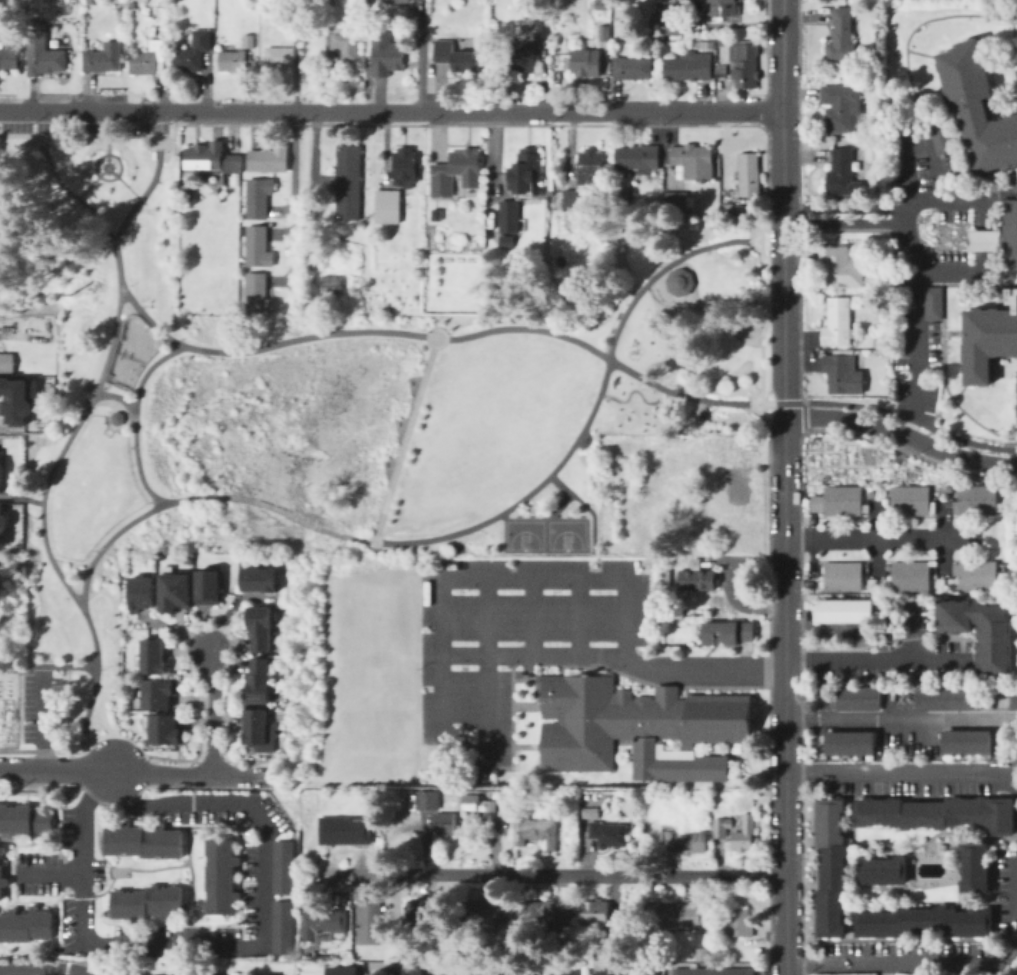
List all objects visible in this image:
building: (393, 1)
building: (328, 4)
building: (603, 5)
building: (131, 6)
building: (722, 7)
building: (543, 28)
building: (674, 28)
building: (222, 32)
building: (605, 33)
building: (843, 36)
building: (1016, 40)
building: (248, 41)
building: (346, 43)
building: (656, 44)
building: (43, 53)
building: (192, 53)
building: (455, 54)
building: (387, 55)
road: (420, 56)
building: (9, 57)
building: (283, 57)
building: (104, 58)
building: (524, 58)
building: (150, 60)
building: (233, 60)
building: (586, 62)
building: (746, 66)
building: (689, 67)
building: (632, 68)
building: (844, 75)
building: (978, 107)
building: (843, 108)
road: (392, 111)
parking lot: (86, 127)
road: (84, 137)
building: (942, 138)
road: (116, 157)
building: (267, 157)
building: (639, 159)
building: (213, 160)
building: (693, 161)
building: (346, 163)
building: (407, 167)
building: (591, 167)
building: (526, 169)
building: (457, 172)
road: (114, 173)
building: (845, 173)
road: (911, 177)
building: (748, 179)
road: (91, 181)
road: (151, 181)
building: (236, 181)
building: (257, 195)
building: (619, 197)
building: (346, 199)
building: (574, 200)
building: (677, 200)
road: (959, 200)
road: (292, 202)
building: (389, 206)
road: (981, 214)
building: (509, 216)
street lamp: (124, 233)
building: (1001, 234)
building: (509, 241)
road: (983, 241)
building: (255, 245)
building: (406, 249)
building: (882, 250)
street lamp: (707, 251)
building: (841, 266)
road: (917, 267)
road: (664, 271)
road: (958, 272)
building: (677, 281)
street lamp: (130, 283)
building: (331, 287)
building: (255, 292)
building: (934, 303)
street lamp: (625, 304)
road: (673, 310)
building: (386, 311)
building: (839, 323)
street lamp: (489, 325)
street lamp: (549, 326)
street lamp: (421, 329)
road: (373, 330)
building: (988, 340)
building: (883, 341)
road: (675, 346)
parking lot: (776, 347)
park: (130, 352)
building: (5, 361)
road: (656, 361)
building: (843, 372)
road: (599, 392)
road: (117, 396)
road: (698, 397)
building: (17, 398)
road: (761, 398)
road: (108, 402)
road: (650, 403)
road: (781, 404)
street lamp: (81, 405)
park: (320, 405)
building: (115, 417)
road: (910, 418)
road: (134, 419)
building: (1015, 421)
street lamp: (588, 431)
road: (70, 434)
road: (902, 434)
road: (404, 439)
street lamp: (130, 447)
building: (731, 457)
street lamp: (50, 459)
road: (786, 487)
building: (737, 496)
road: (20, 497)
building: (902, 499)
building: (830, 500)
building: (854, 500)
building: (923, 500)
building: (968, 500)
building: (989, 500)
street lamp: (147, 501)
road: (558, 504)
road: (585, 506)
road: (276, 508)
road: (501, 515)
building: (2, 525)
street lamp: (36, 527)
building: (695, 531)
street lamp: (471, 534)
park: (544, 534)
road: (882, 536)
road: (111, 537)
road: (370, 541)
street lamp: (94, 549)
road: (597, 564)
building: (989, 575)
building: (835, 576)
building: (854, 576)
building: (903, 576)
building: (922, 576)
building: (969, 576)
building: (666, 578)
building: (261, 580)
building: (698, 580)
road: (730, 583)
building: (209, 587)
building: (175, 592)
building: (140, 593)
street lamp: (66, 597)
road: (484, 601)
building: (713, 609)
building: (843, 610)
road: (530, 616)
road: (579, 616)
building: (261, 628)
building: (980, 632)
building: (728, 633)
road: (624, 642)
parking lot: (507, 643)
building: (153, 656)
road: (876, 658)
street lamp: (102, 668)
road: (703, 669)
building: (260, 682)
building: (159, 693)
building: (856, 697)
building: (946, 697)
building: (1014, 697)
parking lot: (42, 708)
street lamp: (81, 708)
road: (212, 712)
road: (42, 716)
road: (901, 717)
building: (257, 727)
building: (640, 728)
building: (166, 730)
building: (965, 741)
building: (848, 742)
road: (9, 750)
road: (42, 750)
road: (55, 768)
road: (901, 771)
road: (191, 775)
road: (1009, 779)
building: (587, 795)
building: (430, 800)
building: (480, 808)
building: (591, 813)
building: (933, 815)
building: (25, 819)
building: (445, 824)
building: (347, 829)
building: (737, 830)
building: (536, 832)
building: (609, 834)
building: (683, 839)
building: (141, 840)
building: (1, 849)
building: (0, 856)
building: (282, 865)
building: (829, 866)
building: (973, 866)
building: (881, 868)
road: (46, 873)
road: (560, 873)
building: (219, 874)
building: (2, 883)
building: (146, 901)
building: (418, 910)
building: (534, 912)
building: (556, 912)
building: (483, 913)
building: (673, 916)
building: (371, 919)
building: (602, 920)
building: (923, 921)
building: (313, 923)
building: (739, 924)
building: (24, 925)
building: (281, 926)
road: (235, 946)
building: (714, 952)
building: (702, 954)
road: (930, 962)
road: (45, 969)
building: (569, 970)
building: (626, 970)
building: (344, 971)
building: (413, 972)
building: (454, 972)
building: (523, 972)
building: (714, 972)
building: (185, 974)
building: (211, 974)
building: (479, 974)
building: (498, 974)

